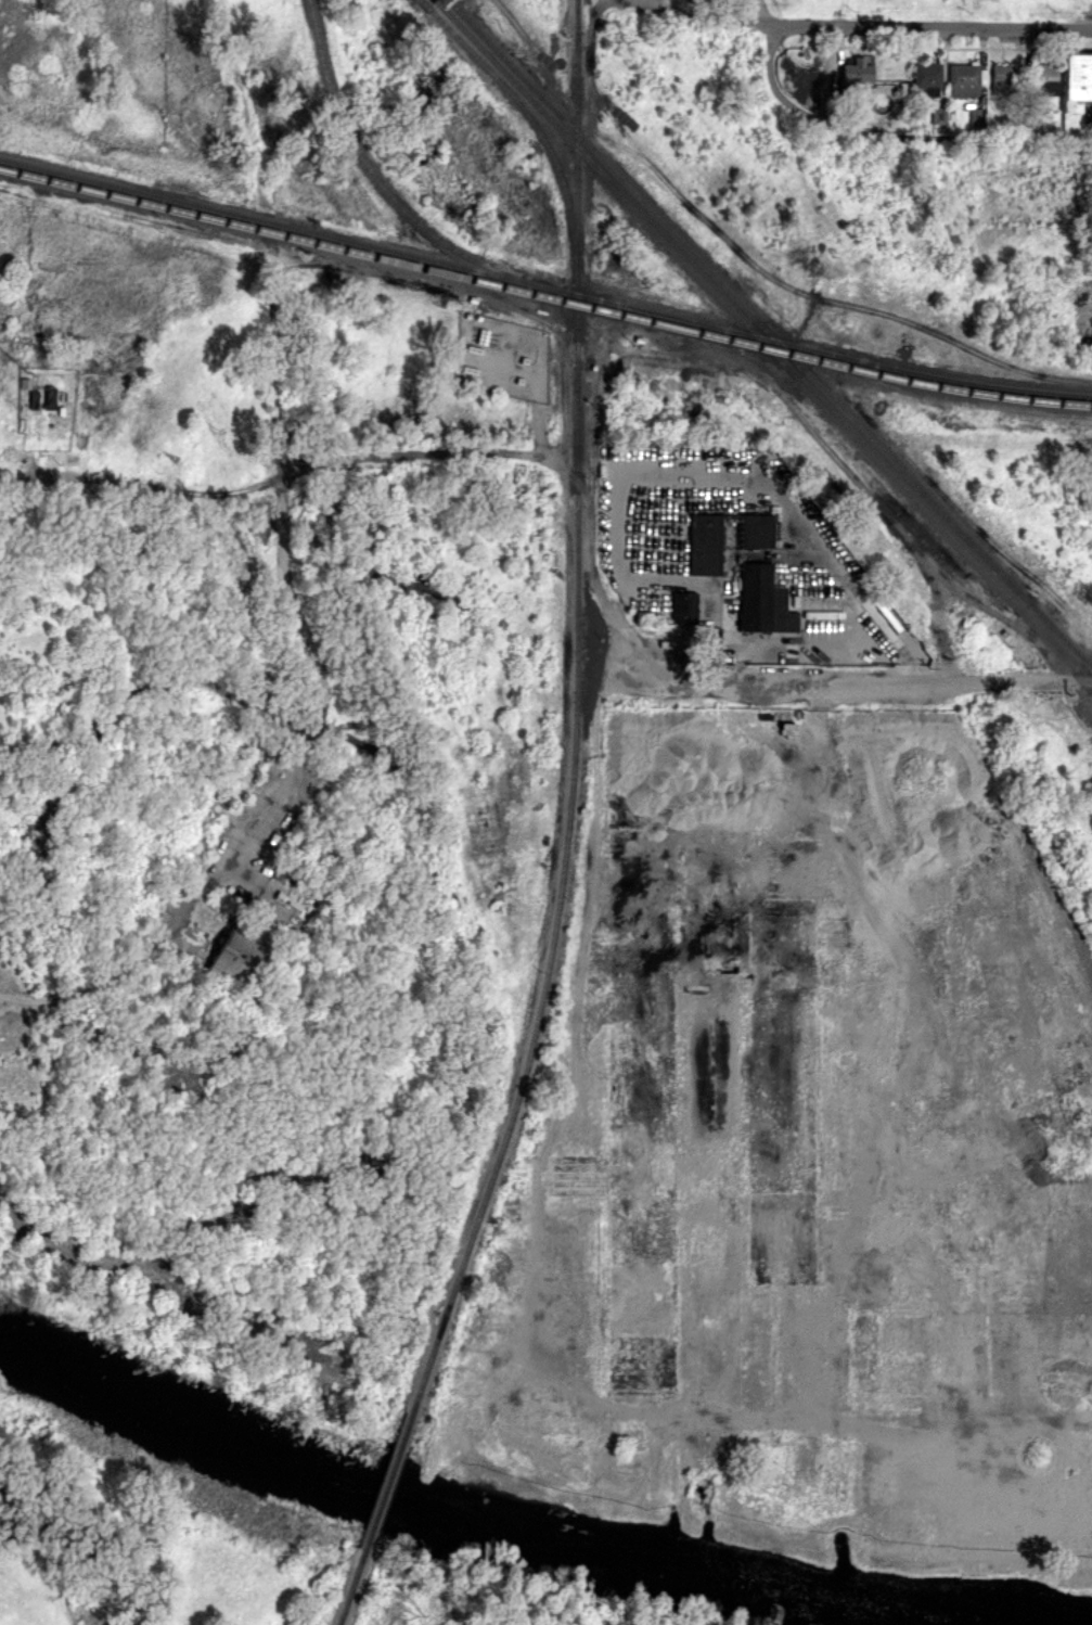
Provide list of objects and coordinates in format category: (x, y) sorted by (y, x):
road: (710, 16)
road: (933, 27)
railway: (980, 27)
railway: (959, 43)
railway: (942, 61)
building: (857, 71)
building: (1002, 77)
building: (927, 78)
building: (963, 79)
building: (1076, 88)
road: (784, 94)
park: (168, 98)
building: (938, 115)
railway: (531, 121)
road: (985, 141)
railway: (386, 191)
railway: (543, 286)
railway: (544, 296)
railway: (770, 334)
railway: (763, 342)
building: (50, 397)
building: (756, 529)
building: (704, 543)
building: (762, 600)
building: (683, 606)
road: (905, 681)
railway: (577, 716)
building: (241, 952)
railway: (389, 1482)
river: (518, 1535)
railway: (352, 1589)

